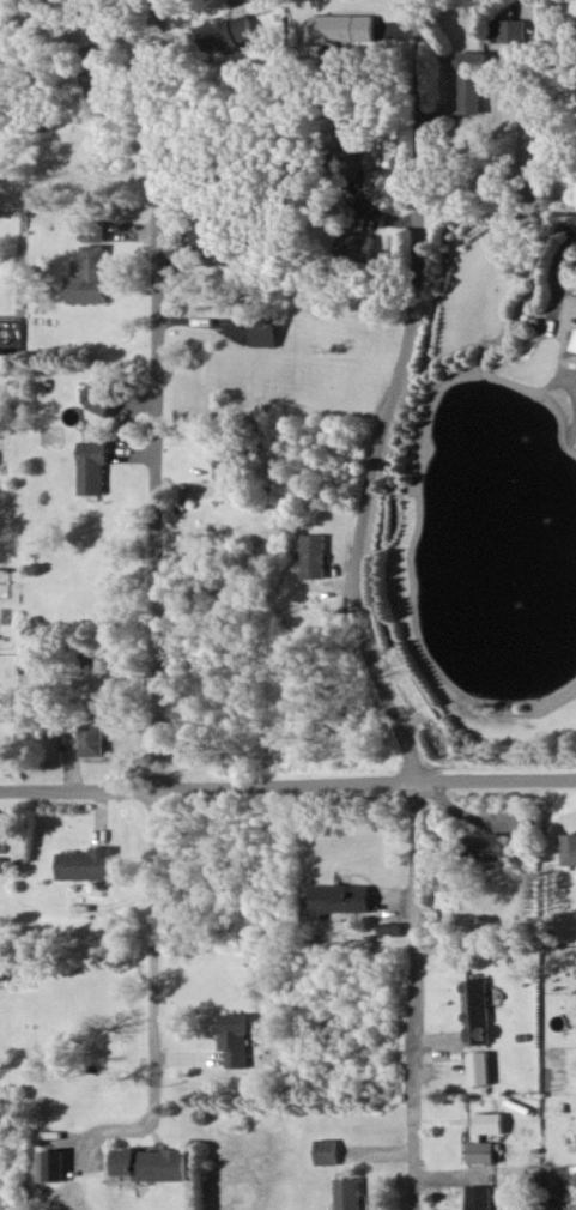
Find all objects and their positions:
building: (341, 28)
building: (507, 30)
building: (225, 34)
building: (96, 71)
building: (469, 81)
building: (346, 151)
building: (93, 230)
building: (212, 230)
building: (354, 244)
building: (89, 277)
building: (265, 331)
building: (575, 345)
building: (102, 397)
building: (230, 465)
building: (95, 466)
road: (154, 531)
building: (313, 555)
road: (354, 606)
building: (96, 739)
road: (287, 786)
building: (489, 847)
building: (569, 848)
building: (86, 864)
building: (339, 899)
building: (389, 927)
building: (477, 1011)
building: (236, 1039)
building: (480, 1067)
building: (491, 1123)
road: (137, 1126)
building: (328, 1151)
building: (481, 1151)
building: (153, 1163)
building: (51, 1166)
building: (350, 1193)
building: (480, 1197)

